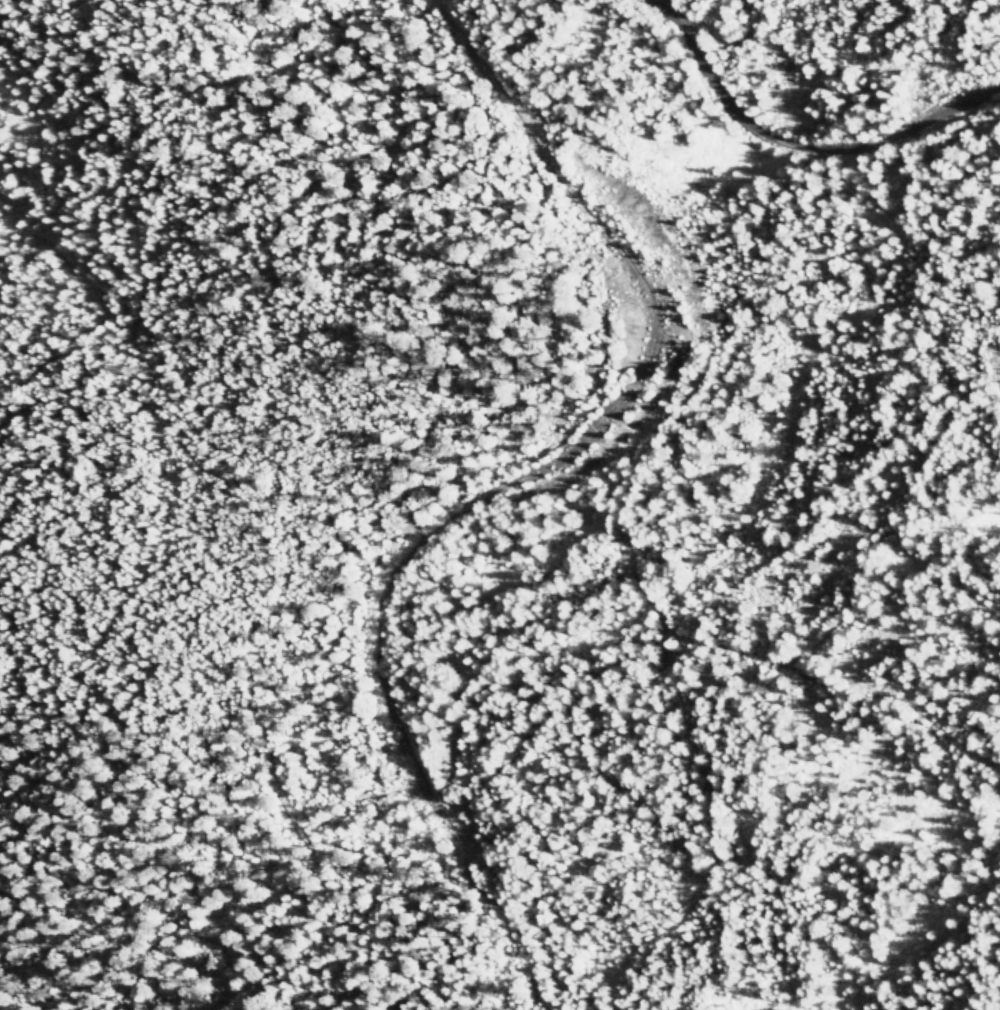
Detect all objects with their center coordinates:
road: (791, 153)
road: (139, 236)
road: (94, 795)

